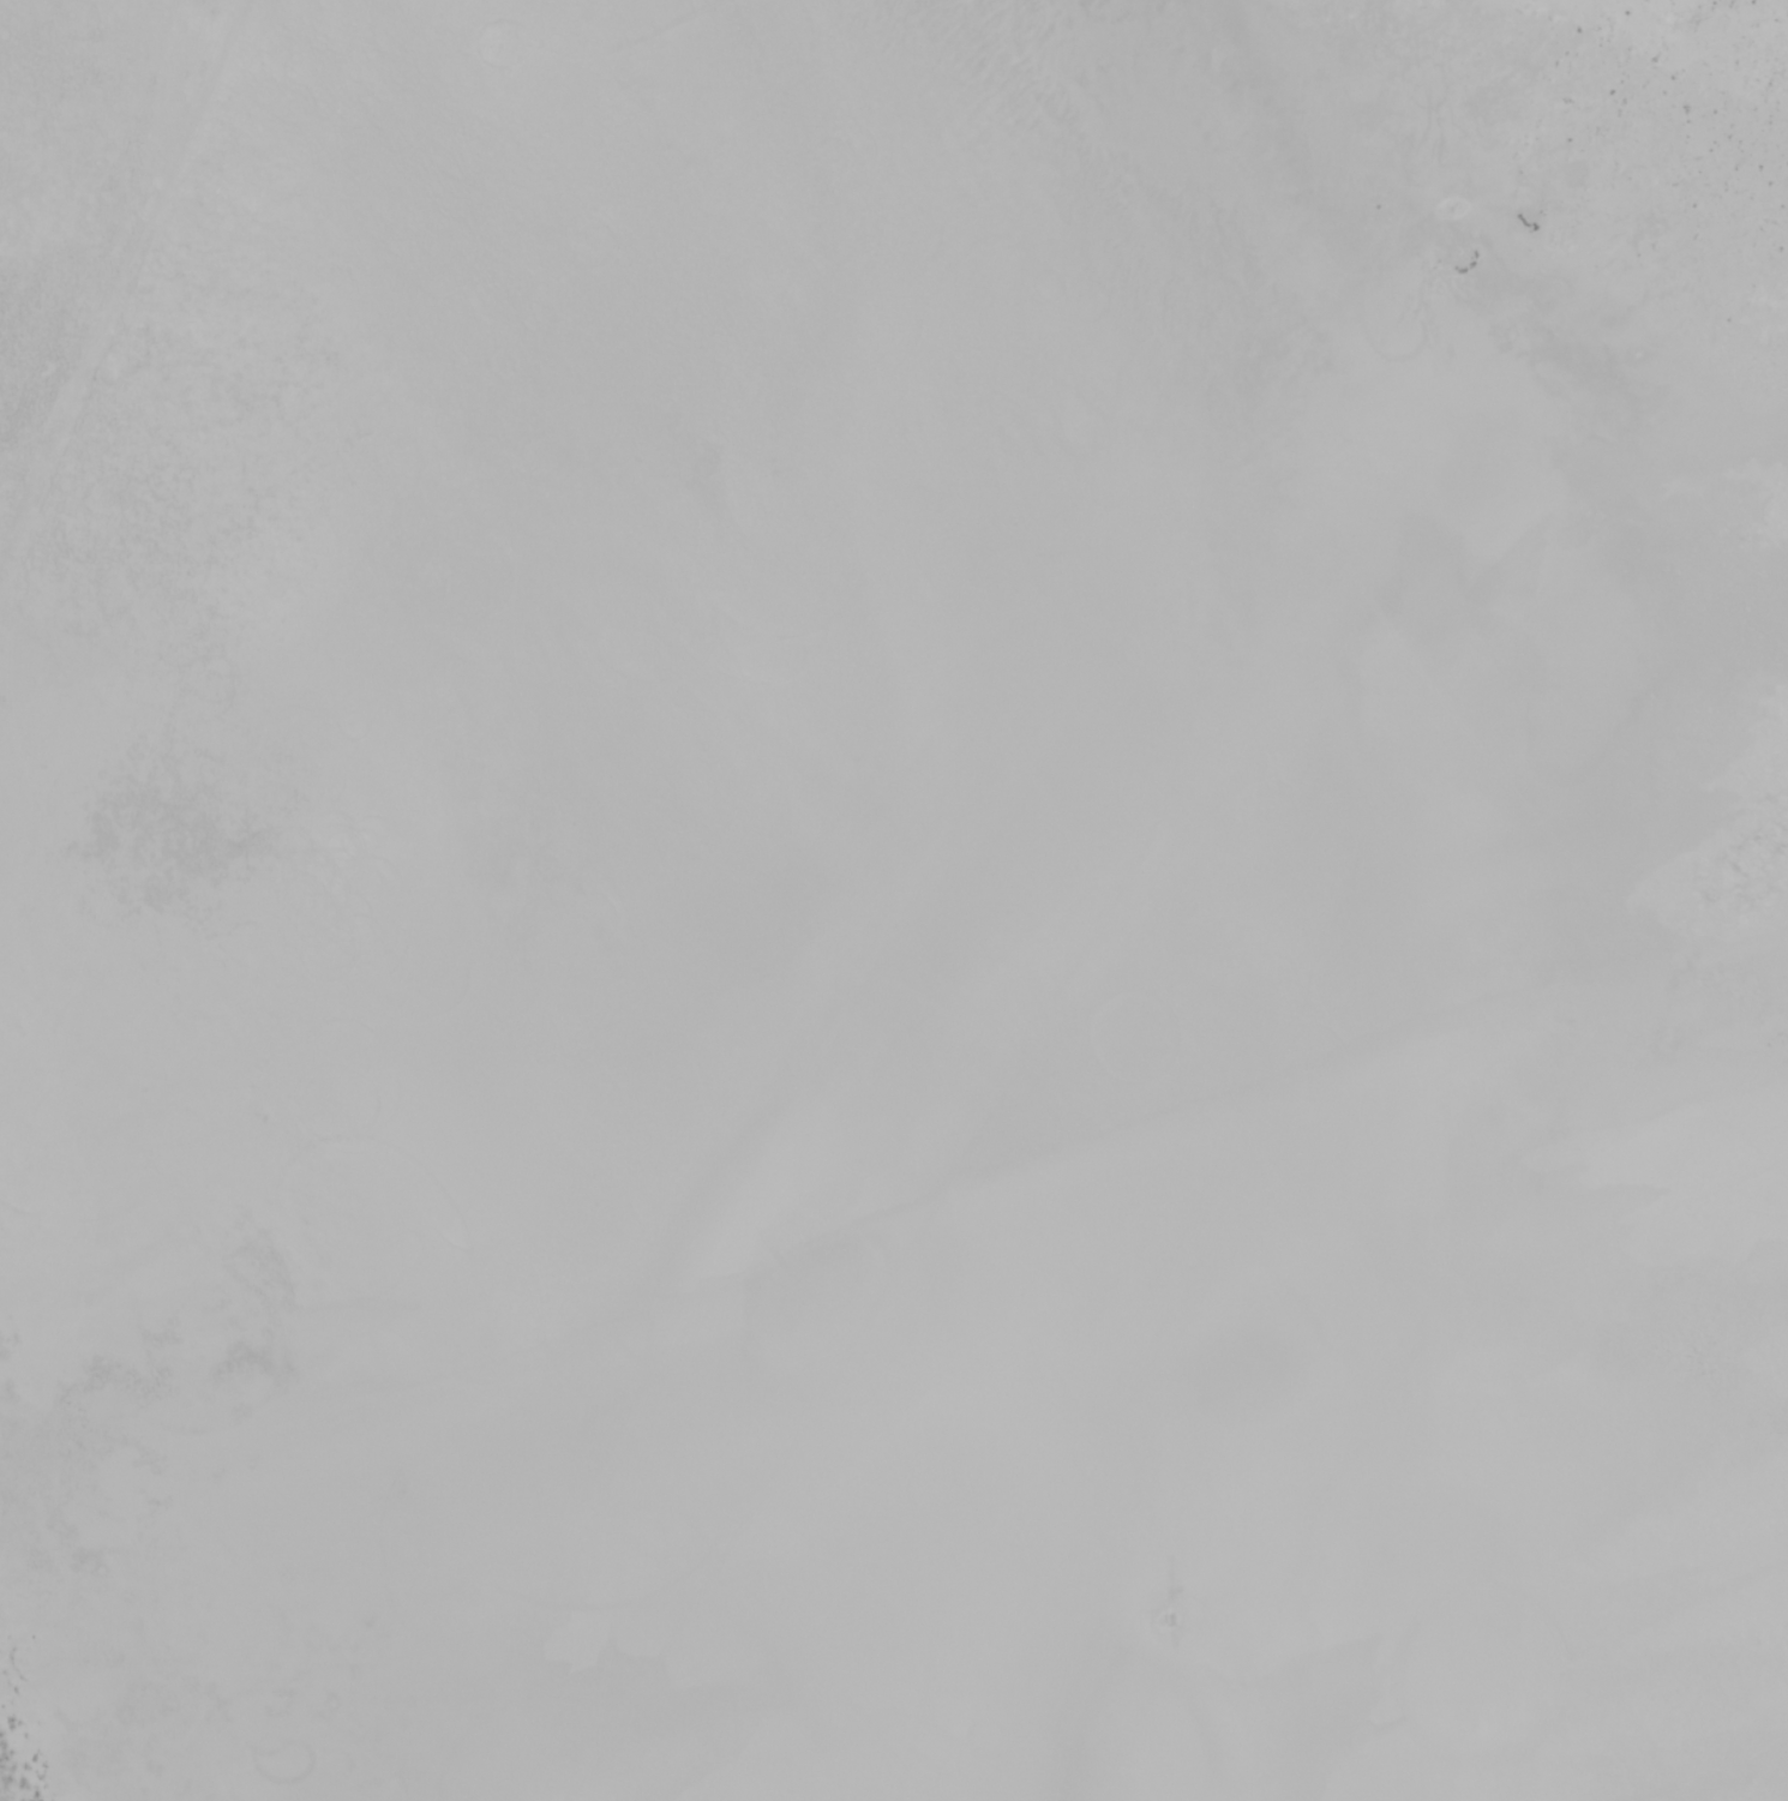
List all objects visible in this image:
road: (79, 218)

